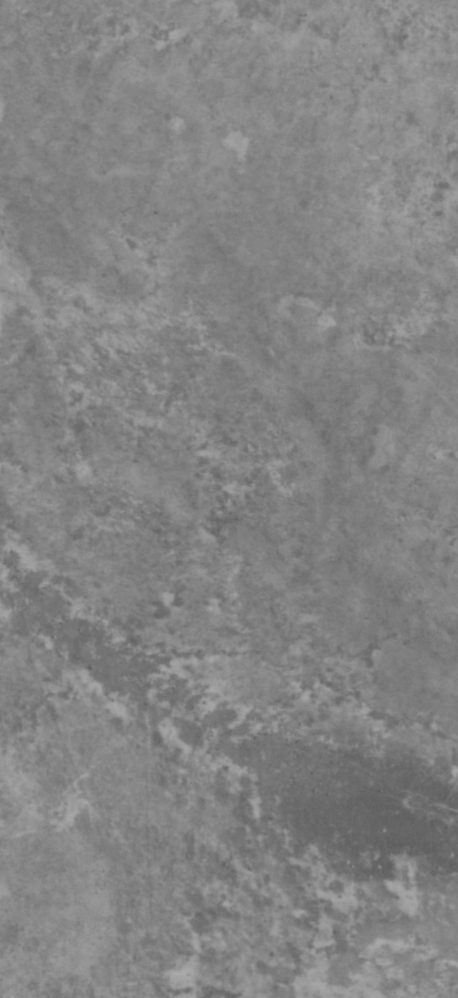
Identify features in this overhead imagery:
road: (49, 954)

